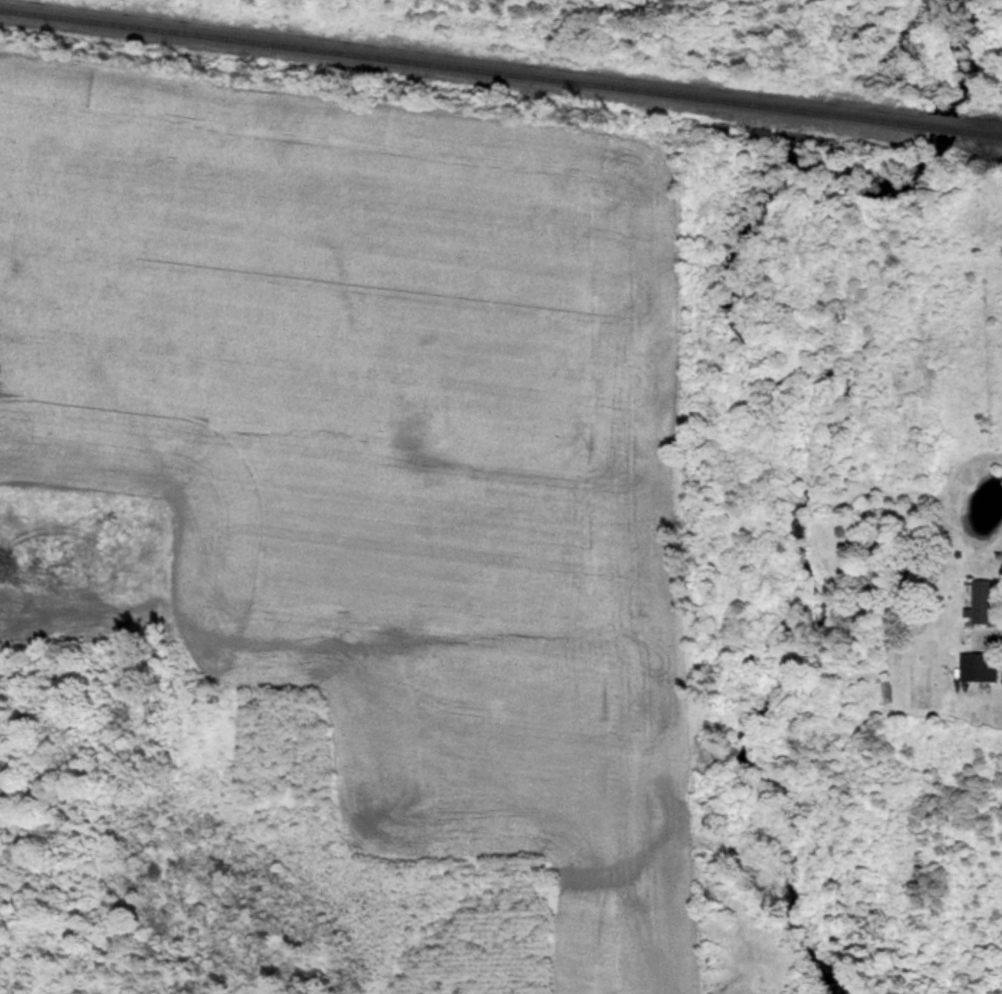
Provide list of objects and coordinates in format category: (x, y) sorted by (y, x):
railway: (467, 61)
railway: (947, 116)
railway: (981, 120)
building: (987, 601)
building: (983, 667)

